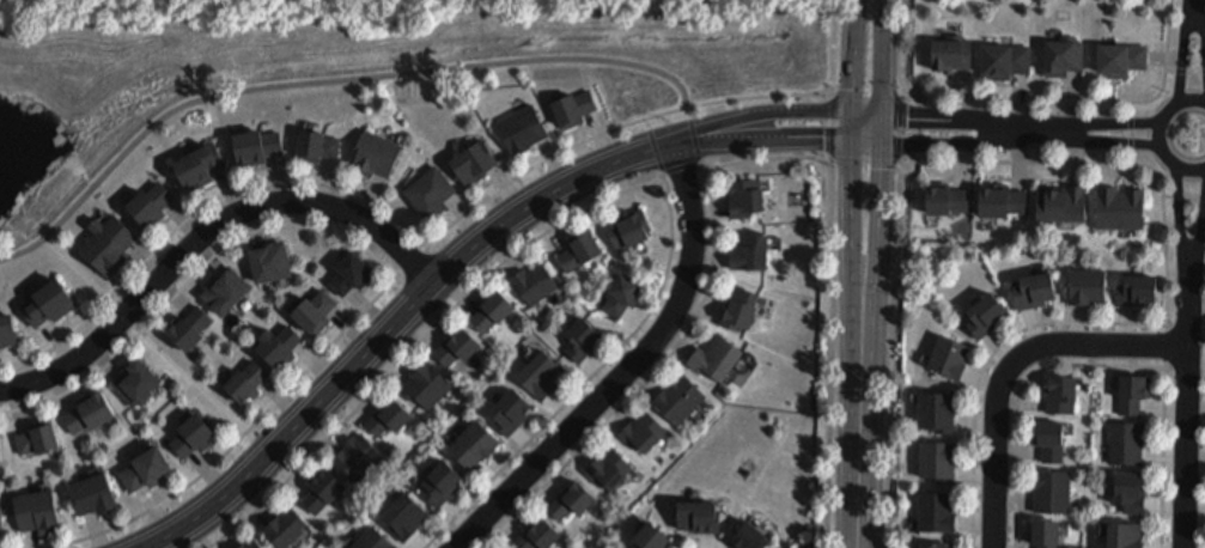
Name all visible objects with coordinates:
crop: (358, 4)
road: (1201, 13)
building: (953, 50)
road: (1182, 51)
building: (1063, 54)
road: (856, 55)
building: (1121, 55)
building: (1006, 62)
road: (1173, 69)
road: (1193, 71)
road: (884, 72)
park: (360, 75)
road: (330, 83)
road: (830, 93)
road: (906, 95)
road: (901, 98)
road: (1035, 101)
building: (576, 110)
road: (1130, 110)
traffic signals: (852, 112)
traffic signals: (883, 114)
road: (750, 115)
road: (933, 118)
road: (645, 120)
road: (1108, 124)
building: (522, 127)
road: (1035, 134)
road: (1158, 135)
road: (769, 140)
road: (696, 141)
road: (1128, 141)
building: (255, 142)
building: (316, 142)
traffic signals: (852, 142)
road: (1109, 142)
traffic signals: (883, 145)
road: (656, 146)
road: (949, 146)
building: (375, 152)
building: (471, 159)
road: (839, 159)
building: (199, 162)
road: (828, 162)
road: (731, 164)
road: (1104, 164)
road: (683, 169)
road: (708, 169)
road: (661, 181)
building: (432, 194)
road: (1170, 194)
road: (1192, 194)
building: (744, 195)
building: (945, 196)
building: (1002, 199)
building: (147, 200)
building: (1061, 200)
road: (273, 205)
road: (598, 205)
road: (203, 208)
building: (1121, 211)
building: (629, 226)
road: (1182, 232)
building: (108, 240)
road: (1199, 248)
building: (749, 249)
building: (578, 250)
road: (853, 254)
building: (269, 258)
road: (413, 260)
building: (351, 270)
road: (876, 270)
road: (195, 275)
road: (84, 278)
building: (534, 280)
building: (1087, 284)
building: (1034, 287)
building: (1136, 287)
building: (224, 288)
building: (622, 292)
building: (47, 300)
building: (738, 306)
building: (491, 308)
building: (314, 309)
building: (986, 312)
building: (189, 325)
building: (6, 327)
road: (390, 329)
road: (1182, 329)
building: (580, 337)
building: (279, 342)
building: (457, 343)
road: (1169, 347)
park: (157, 348)
building: (949, 354)
building: (714, 355)
road: (68, 364)
road: (1010, 366)
road: (1096, 366)
road: (632, 367)
road: (1166, 370)
building: (538, 371)
building: (134, 378)
building: (245, 378)
building: (426, 382)
road: (196, 384)
building: (1133, 389)
building: (1060, 391)
building: (677, 396)
building: (510, 408)
building: (937, 409)
building: (86, 410)
building: (388, 414)
road: (1186, 424)
building: (640, 428)
building: (190, 432)
road: (247, 432)
building: (36, 436)
building: (1051, 437)
building: (1125, 440)
building: (473, 442)
building: (0, 449)
building: (357, 453)
building: (938, 457)
building: (145, 465)
building: (607, 465)
road: (860, 471)
building: (440, 480)
building: (322, 488)
building: (1130, 488)
building: (1051, 489)
building: (91, 492)
building: (571, 498)
building: (36, 509)
building: (935, 510)
building: (404, 513)
building: (700, 513)
building: (1, 523)
building: (282, 524)
building: (1046, 531)
building: (536, 534)
building: (1124, 534)
building: (651, 535)
building: (749, 535)
building: (372, 538)
building: (933, 543)
building: (248, 544)

